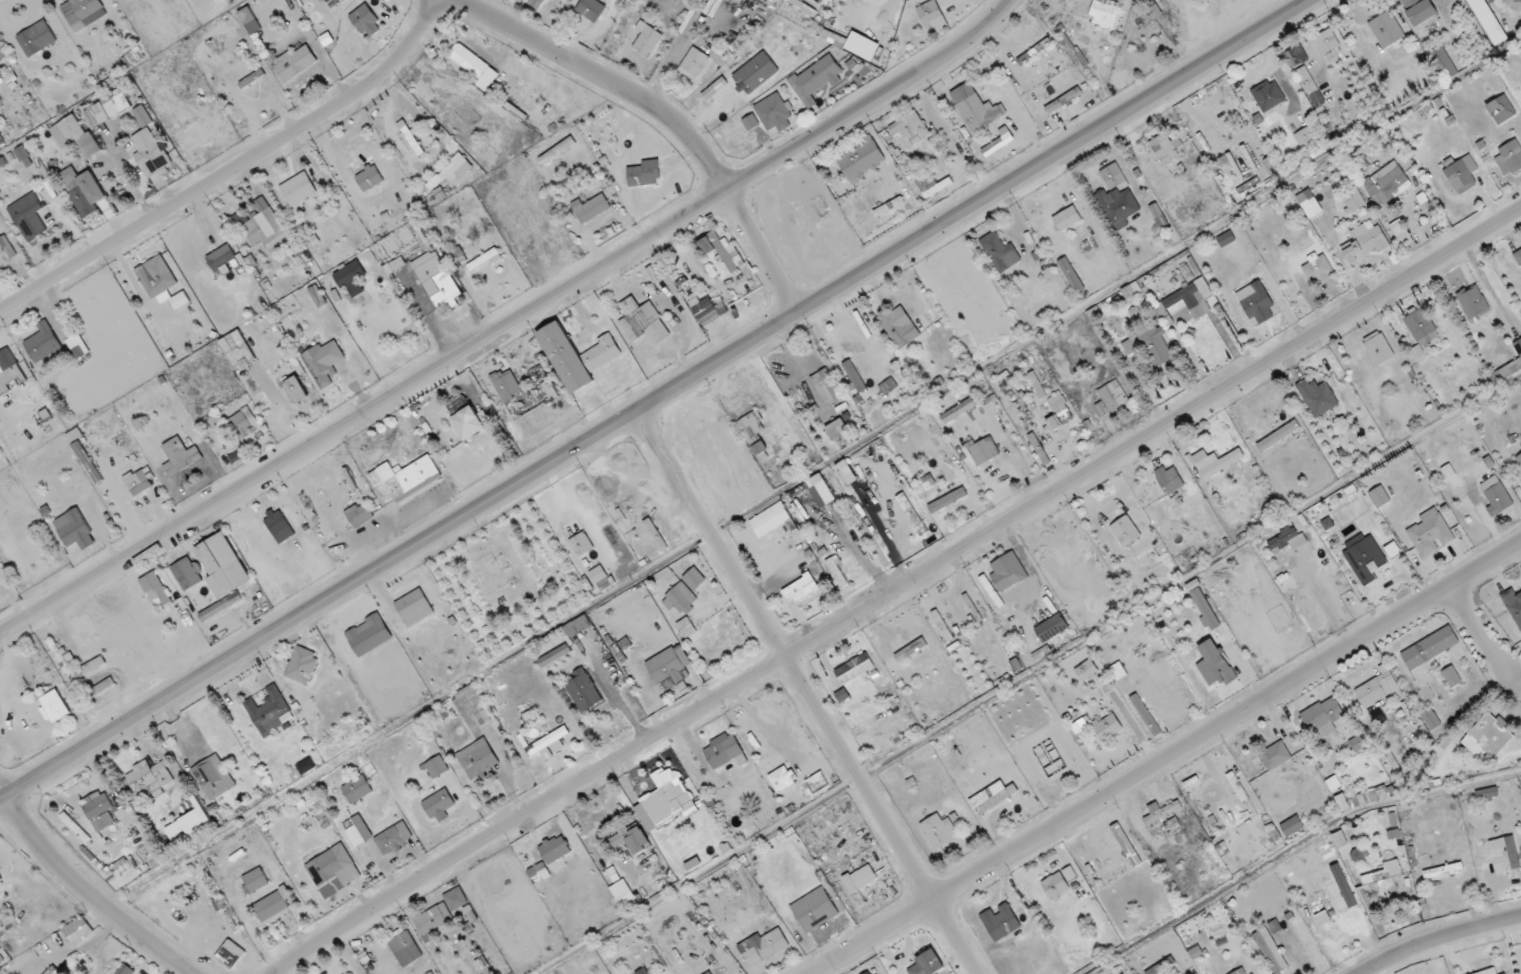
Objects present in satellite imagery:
building: (536, 3)
building: (802, 7)
building: (88, 9)
building: (591, 9)
building: (1419, 10)
building: (1106, 13)
building: (932, 15)
building: (364, 18)
building: (1489, 21)
building: (1387, 29)
road: (593, 32)
road: (377, 36)
building: (36, 38)
building: (646, 39)
building: (862, 46)
building: (1330, 46)
building: (1293, 57)
building: (296, 62)
building: (693, 63)
building: (1442, 64)
building: (475, 67)
building: (756, 72)
building: (252, 78)
building: (815, 79)
road: (339, 86)
building: (1310, 86)
building: (714, 88)
road: (393, 92)
building: (1268, 95)
building: (226, 96)
building: (109, 106)
building: (1501, 109)
building: (774, 112)
building: (977, 112)
road: (664, 116)
building: (143, 117)
building: (750, 122)
building: (908, 130)
road: (261, 134)
road: (328, 134)
building: (62, 135)
building: (412, 138)
building: (1305, 138)
road: (109, 139)
building: (998, 143)
building: (1163, 149)
building: (151, 154)
building: (26, 155)
building: (1509, 157)
building: (860, 160)
building: (461, 165)
road: (232, 172)
building: (644, 174)
building: (1461, 174)
street lamp: (191, 176)
building: (1113, 176)
building: (369, 177)
road: (250, 181)
building: (1387, 183)
building: (931, 185)
building: (83, 187)
building: (299, 188)
road: (166, 193)
building: (1353, 201)
building: (1309, 203)
building: (1118, 206)
building: (590, 208)
building: (31, 216)
road: (199, 217)
building: (1066, 219)
road: (113, 221)
building: (263, 227)
building: (1401, 233)
building: (1226, 239)
building: (1364, 242)
building: (8, 246)
building: (2, 248)
road: (35, 250)
building: (721, 251)
building: (1000, 252)
building: (1517, 256)
building: (222, 257)
building: (1318, 268)
road: (22, 271)
building: (350, 274)
building: (157, 275)
building: (1071, 275)
building: (438, 280)
road: (136, 286)
building: (1191, 299)
building: (180, 300)
building: (1472, 301)
building: (1256, 302)
building: (704, 309)
building: (639, 319)
road: (510, 323)
building: (1421, 326)
building: (900, 327)
building: (43, 342)
building: (78, 346)
building: (1130, 346)
building: (1156, 348)
building: (1378, 348)
building: (237, 349)
building: (1416, 352)
building: (577, 356)
building: (320, 366)
building: (1508, 366)
building: (10, 370)
building: (855, 375)
building: (826, 385)
building: (888, 385)
building: (297, 388)
building: (1317, 396)
building: (1111, 398)
road: (659, 401)
building: (535, 406)
building: (957, 411)
building: (242, 422)
building: (468, 422)
building: (1054, 423)
building: (751, 425)
road: (7, 428)
building: (837, 429)
building: (74, 435)
building: (1278, 435)
building: (983, 451)
building: (179, 453)
building: (1519, 459)
building: (1217, 463)
road: (811, 472)
building: (846, 473)
building: (405, 475)
building: (1168, 478)
building: (138, 481)
building: (823, 493)
building: (1495, 495)
building: (1379, 496)
building: (948, 500)
building: (359, 513)
building: (912, 513)
building: (75, 529)
building: (1125, 531)
building: (1429, 533)
road: (711, 535)
building: (1286, 539)
building: (582, 543)
building: (29, 549)
building: (1392, 549)
building: (1365, 557)
building: (223, 564)
building: (1007, 572)
building: (187, 573)
building: (598, 574)
building: (694, 578)
building: (156, 586)
building: (802, 588)
road: (896, 589)
building: (990, 592)
building: (681, 598)
building: (1513, 606)
building: (415, 607)
building: (1203, 609)
building: (686, 626)
building: (1050, 628)
building: (370, 634)
road: (1479, 637)
building: (1429, 648)
building: (1213, 664)
building: (303, 665)
building: (668, 668)
building: (854, 668)
building: (1085, 670)
building: (1119, 670)
road: (1028, 674)
building: (1451, 676)
building: (890, 688)
building: (1378, 688)
building: (584, 690)
building: (476, 703)
building: (55, 705)
building: (269, 709)
building: (1325, 716)
building: (1430, 718)
building: (1106, 728)
building: (1489, 736)
building: (1356, 744)
building: (723, 751)
building: (1274, 756)
building: (478, 758)
road: (1169, 758)
building: (436, 767)
building: (213, 777)
building: (781, 778)
building: (149, 779)
building: (1236, 787)
building: (357, 788)
building: (1486, 794)
building: (993, 796)
building: (1371, 796)
building: (666, 800)
building: (439, 802)
building: (99, 810)
building: (1161, 811)
road: (882, 814)
building: (1292, 825)
building: (359, 829)
building: (939, 830)
building: (393, 838)
building: (617, 840)
building: (639, 840)
building: (562, 841)
road: (1293, 848)
building: (1505, 854)
building: (330, 864)
building: (1382, 876)
building: (0, 879)
building: (255, 880)
building: (1056, 885)
building: (854, 889)
road: (88, 892)
building: (456, 898)
building: (271, 905)
building: (815, 909)
building: (433, 918)
building: (1000, 921)
building: (78, 930)
road: (1435, 938)
building: (763, 946)
building: (406, 948)
building: (1271, 950)
building: (927, 964)
building: (125, 969)
building: (709, 972)
building: (1238, 972)
building: (877, 973)

